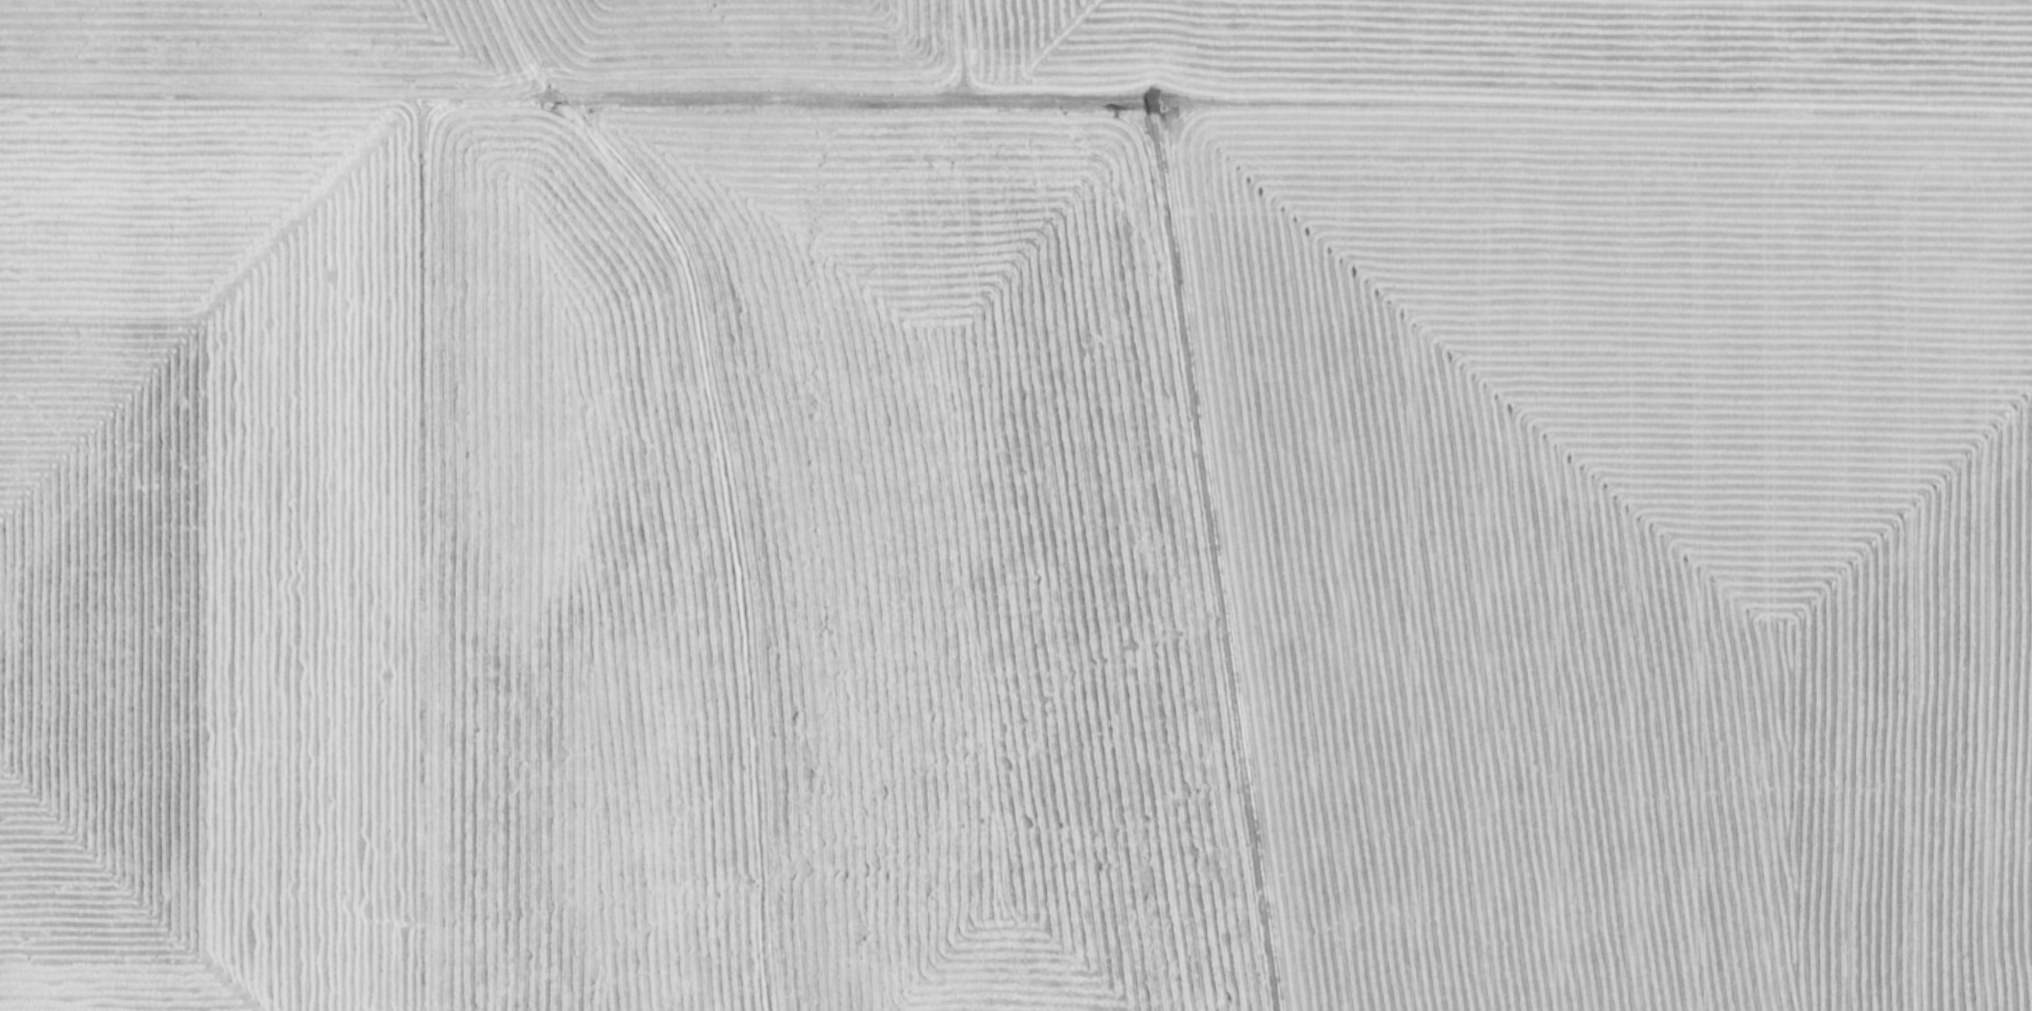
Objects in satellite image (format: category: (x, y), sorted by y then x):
crop: (1016, 505)

